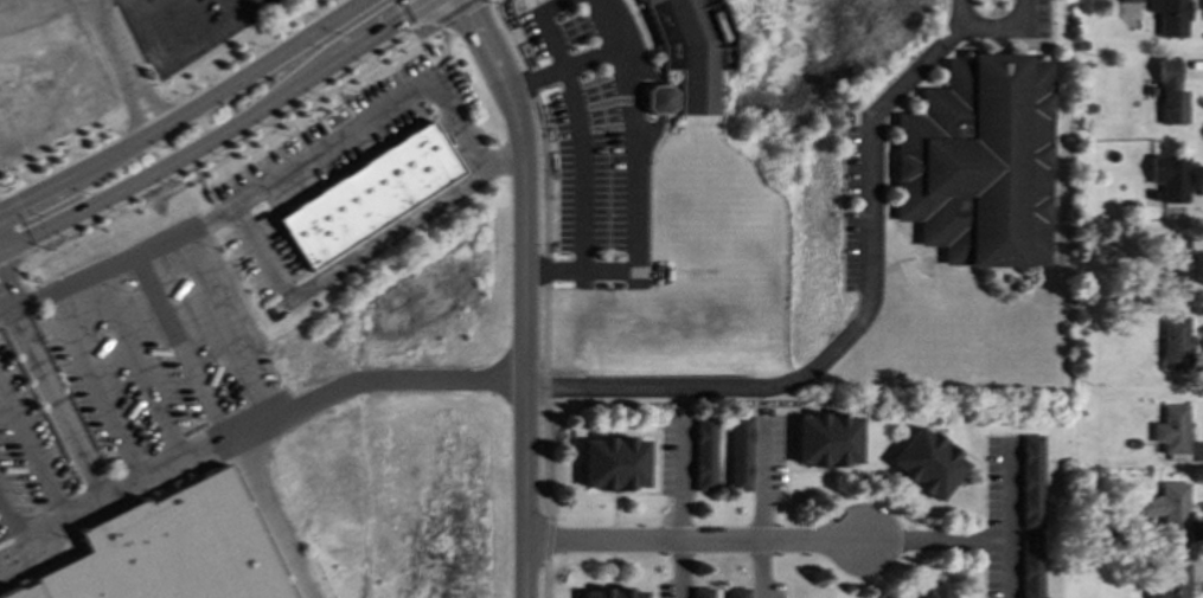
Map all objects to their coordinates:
building: (1130, 1)
road: (454, 12)
road: (408, 18)
building: (1171, 18)
road: (603, 24)
road: (1004, 26)
road: (223, 32)
road: (142, 38)
building: (691, 49)
road: (243, 50)
road: (122, 65)
building: (1170, 96)
building: (659, 101)
road: (146, 109)
road: (185, 114)
road: (578, 124)
road: (220, 133)
road: (64, 153)
road: (230, 155)
road: (629, 155)
building: (979, 163)
road: (481, 171)
road: (280, 178)
building: (1170, 178)
building: (369, 195)
traffic signals: (20, 205)
road: (18, 221)
road: (380, 242)
road: (258, 251)
building: (1173, 263)
road: (8, 272)
traffic signals: (1, 284)
road: (526, 291)
road: (5, 292)
road: (2, 302)
road: (2, 307)
road: (857, 320)
road: (226, 330)
road: (545, 339)
building: (1173, 343)
road: (183, 351)
road: (140, 372)
road: (97, 391)
road: (55, 404)
road: (300, 410)
building: (1171, 430)
building: (825, 441)
building: (737, 454)
building: (702, 455)
road: (34, 458)
building: (612, 464)
building: (926, 464)
building: (1029, 482)
road: (123, 494)
road: (679, 509)
building: (1167, 510)
road: (13, 526)
road: (691, 544)
road: (978, 544)
building: (171, 549)
road: (760, 571)
road: (1005, 571)
building: (1030, 574)
building: (1167, 581)
building: (935, 592)
building: (612, 593)
building: (735, 593)

